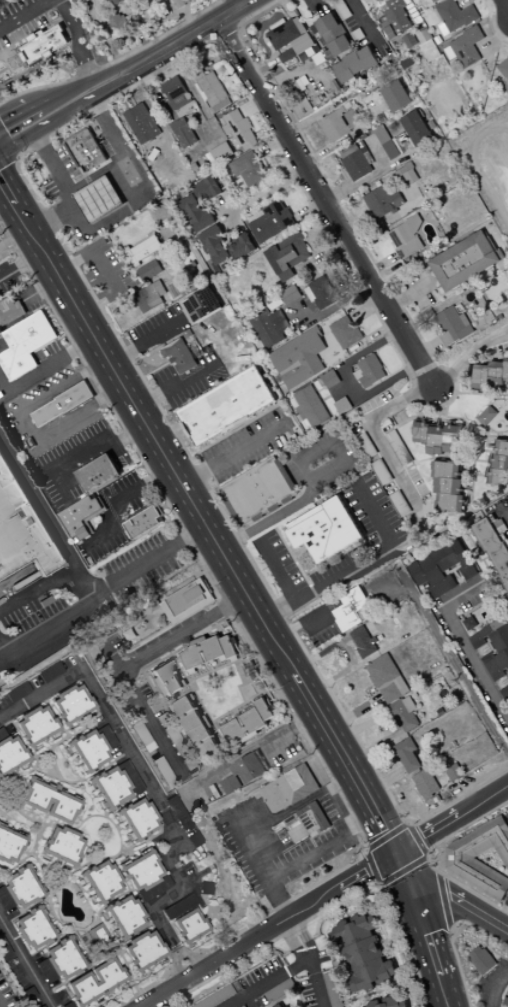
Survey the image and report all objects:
road: (247, 1)
building: (434, 1)
building: (116, 2)
road: (506, 2)
building: (182, 3)
building: (341, 9)
road: (359, 13)
road: (25, 14)
building: (453, 17)
building: (395, 18)
road: (69, 21)
building: (120, 22)
building: (331, 35)
road: (187, 37)
building: (291, 40)
building: (43, 45)
building: (467, 47)
road: (83, 63)
building: (354, 64)
building: (505, 64)
road: (40, 67)
road: (107, 78)
road: (107, 86)
road: (68, 92)
building: (176, 93)
building: (213, 93)
building: (396, 97)
road: (76, 108)
road: (23, 112)
building: (340, 123)
building: (142, 124)
building: (416, 128)
building: (238, 129)
building: (183, 133)
road: (30, 136)
building: (385, 142)
building: (87, 152)
building: (218, 154)
road: (125, 156)
building: (357, 163)
building: (248, 170)
building: (128, 172)
building: (408, 174)
road: (363, 182)
building: (206, 189)
road: (269, 191)
road: (69, 193)
building: (99, 201)
gas station: (99, 201)
building: (383, 201)
road: (328, 205)
road: (7, 208)
road: (118, 214)
building: (195, 215)
building: (271, 222)
building: (407, 239)
road: (16, 244)
building: (214, 246)
building: (241, 247)
building: (145, 250)
building: (288, 256)
building: (464, 262)
building: (149, 271)
road: (107, 273)
building: (321, 294)
building: (289, 295)
building: (149, 297)
building: (201, 304)
building: (10, 311)
building: (453, 326)
building: (269, 328)
building: (346, 333)
road: (144, 342)
building: (25, 345)
building: (179, 357)
road: (469, 358)
building: (298, 359)
building: (369, 372)
building: (489, 375)
building: (329, 380)
road: (174, 387)
building: (377, 401)
building: (61, 405)
building: (342, 406)
building: (225, 407)
building: (310, 407)
building: (487, 416)
road: (25, 425)
road: (379, 435)
building: (439, 439)
road: (97, 449)
road: (231, 456)
building: (499, 463)
building: (98, 474)
road: (144, 484)
building: (447, 487)
building: (258, 491)
road: (299, 504)
road: (199, 515)
building: (81, 517)
building: (143, 523)
building: (23, 529)
building: (324, 530)
road: (72, 563)
road: (150, 564)
road: (358, 564)
parking lot: (139, 567)
building: (441, 569)
road: (280, 570)
road: (37, 589)
building: (187, 602)
building: (351, 609)
building: (469, 624)
building: (363, 642)
road: (468, 647)
building: (493, 649)
building: (207, 652)
road: (130, 661)
building: (48, 673)
building: (386, 679)
building: (165, 680)
building: (15, 692)
road: (40, 696)
building: (70, 705)
building: (404, 715)
building: (247, 723)
building: (33, 726)
road: (386, 727)
building: (193, 728)
building: (90, 749)
building: (9, 754)
building: (406, 756)
road: (138, 769)
building: (454, 772)
building: (242, 774)
building: (113, 785)
building: (425, 785)
building: (288, 789)
building: (47, 802)
building: (174, 808)
building: (136, 819)
road: (451, 819)
building: (306, 823)
road: (267, 824)
building: (9, 846)
building: (60, 846)
road: (325, 850)
traffic signals: (396, 854)
building: (465, 865)
building: (143, 876)
building: (99, 882)
building: (203, 888)
building: (18, 889)
road: (449, 895)
building: (122, 916)
road: (157, 918)
building: (184, 920)
building: (31, 929)
road: (266, 929)
road: (425, 929)
building: (352, 931)
road: (305, 935)
road: (292, 943)
building: (2, 950)
building: (141, 951)
building: (481, 960)
building: (58, 962)
road: (25, 963)
building: (367, 965)
road: (319, 982)
building: (93, 983)
road: (272, 984)
road: (498, 990)
building: (278, 991)
building: (219, 998)
building: (390, 1002)
building: (67, 1005)
building: (281, 1005)
building: (40, 1006)

